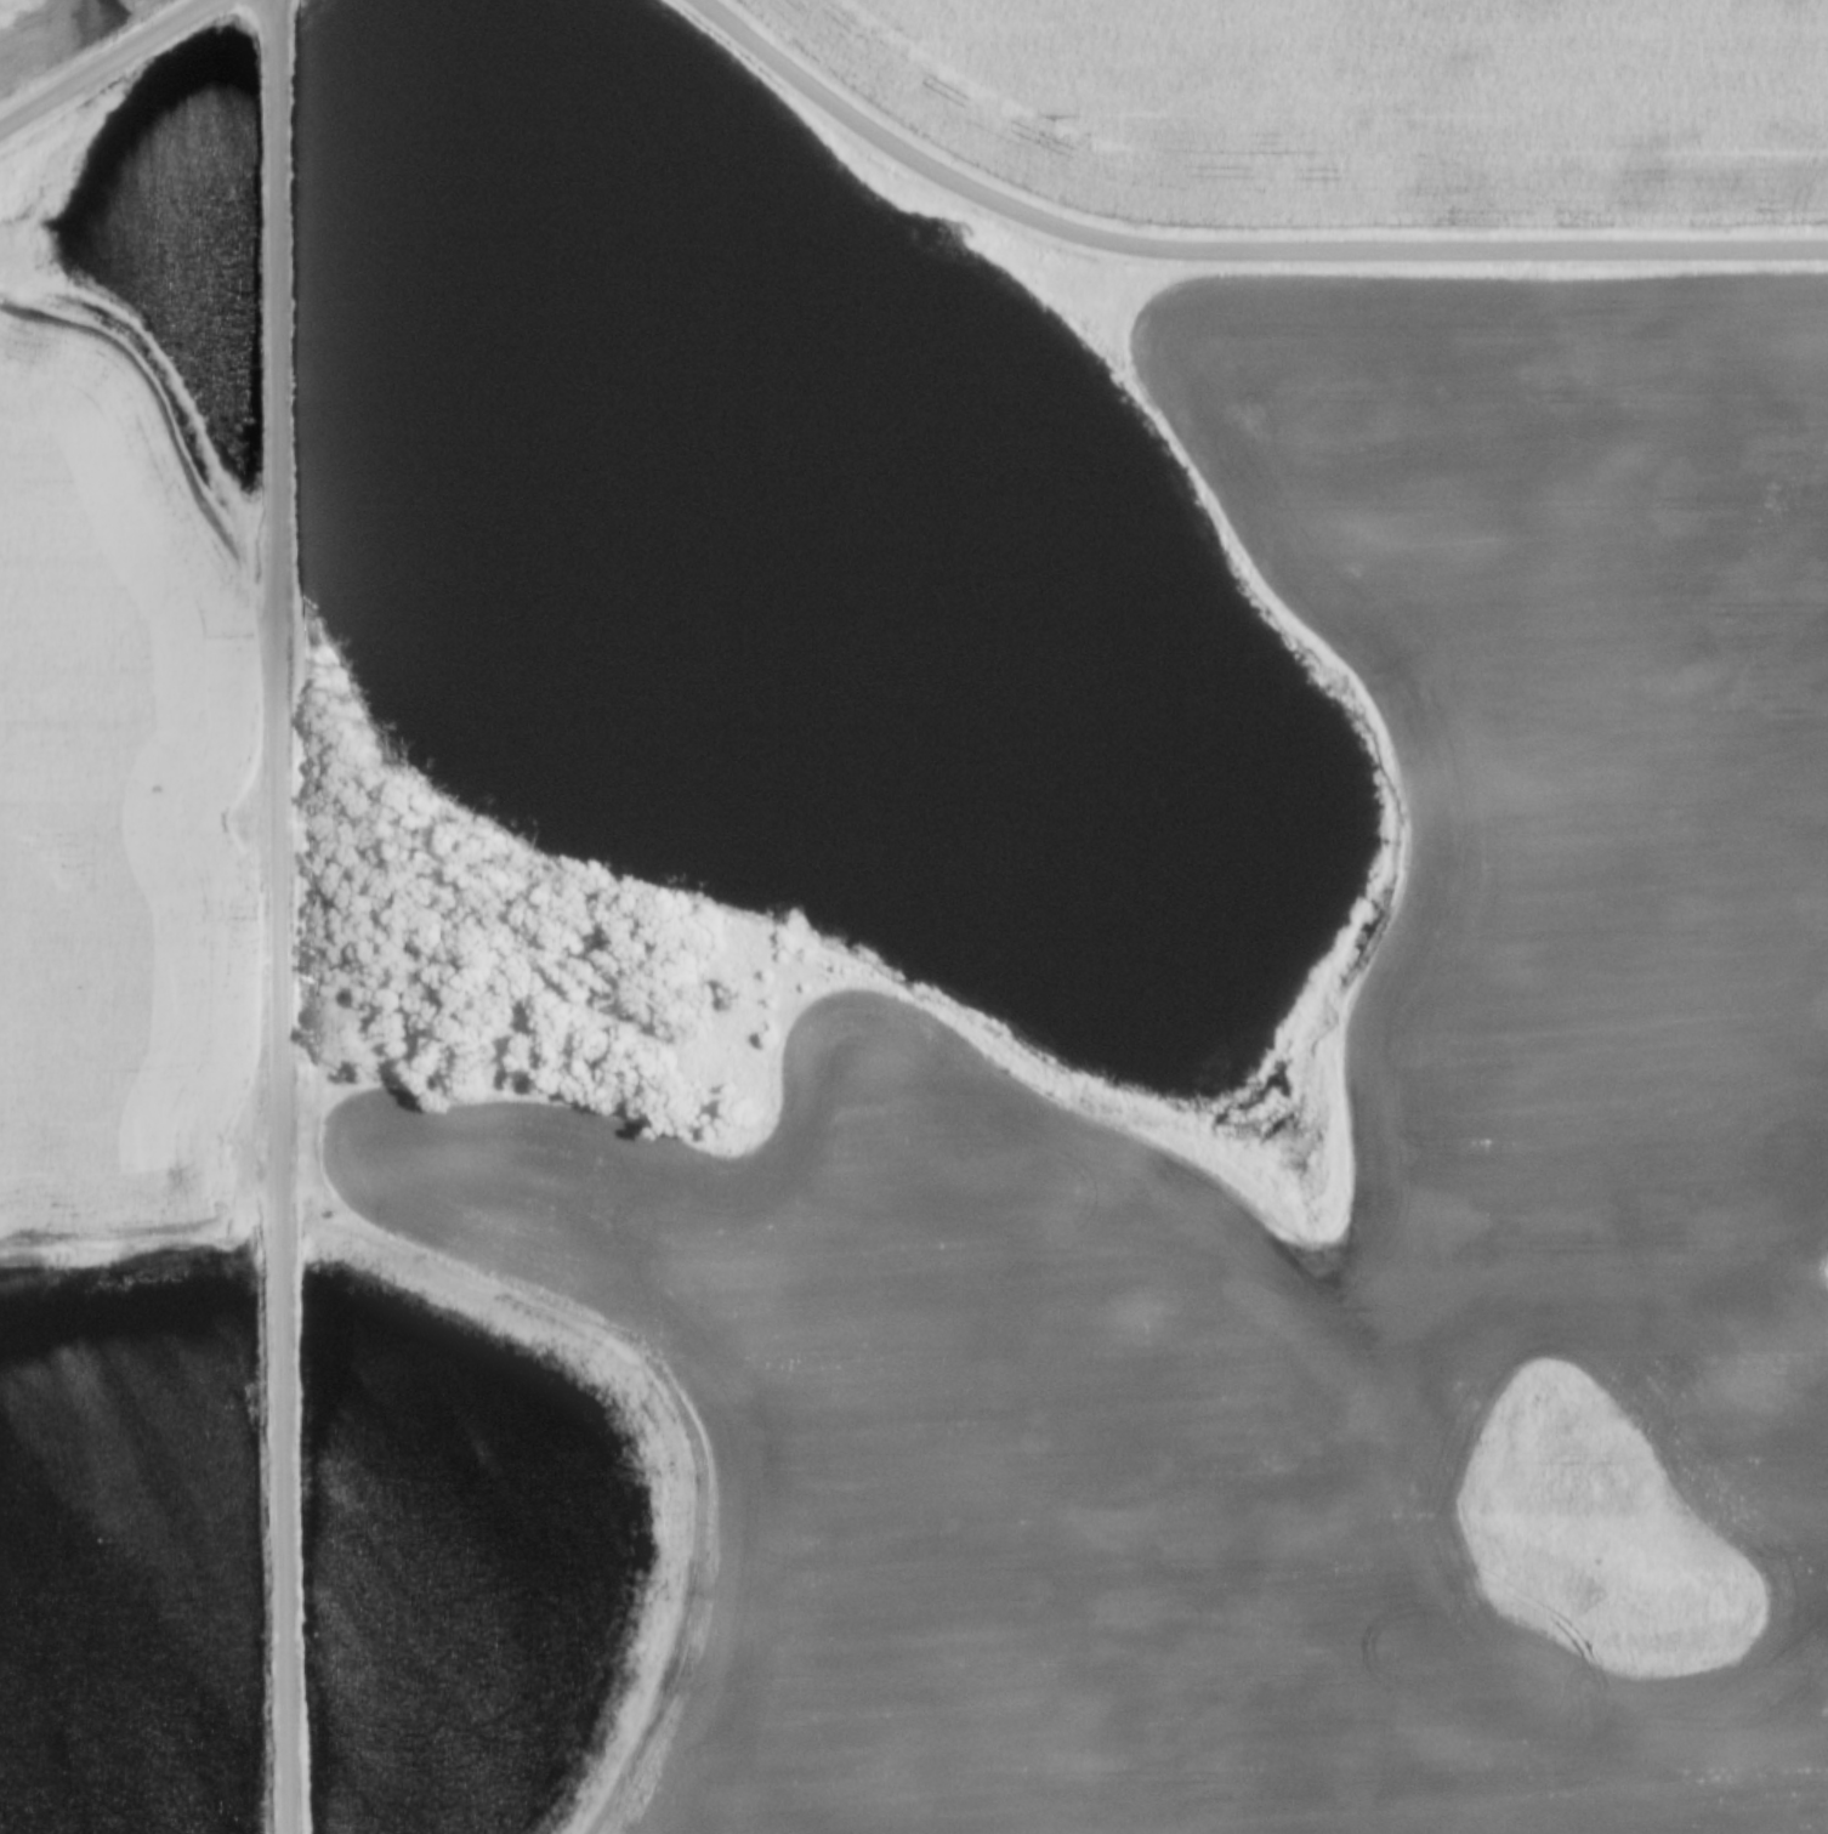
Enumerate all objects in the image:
road: (115, 68)
road: (1228, 256)
road: (286, 916)

